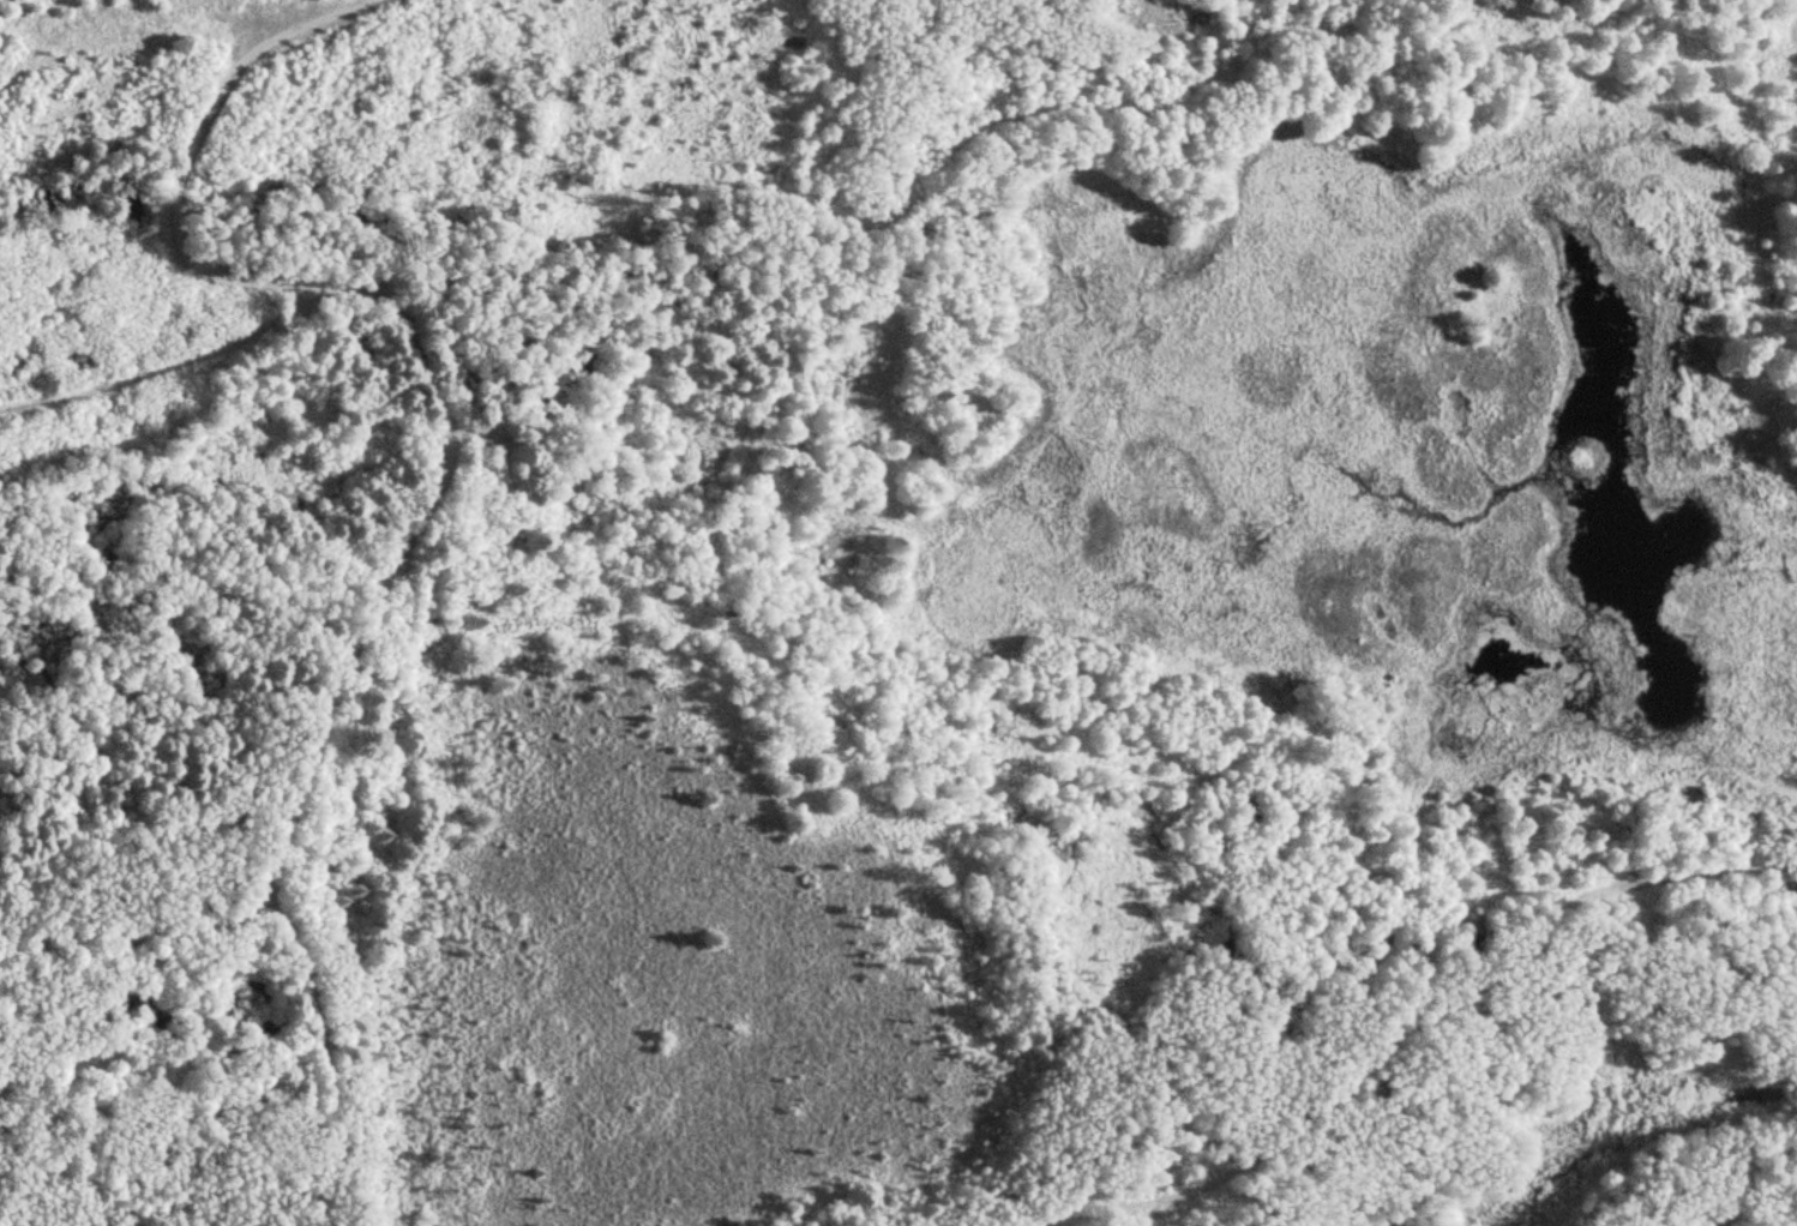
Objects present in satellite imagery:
road: (131, 933)
road: (1413, 1024)
road: (324, 1053)

